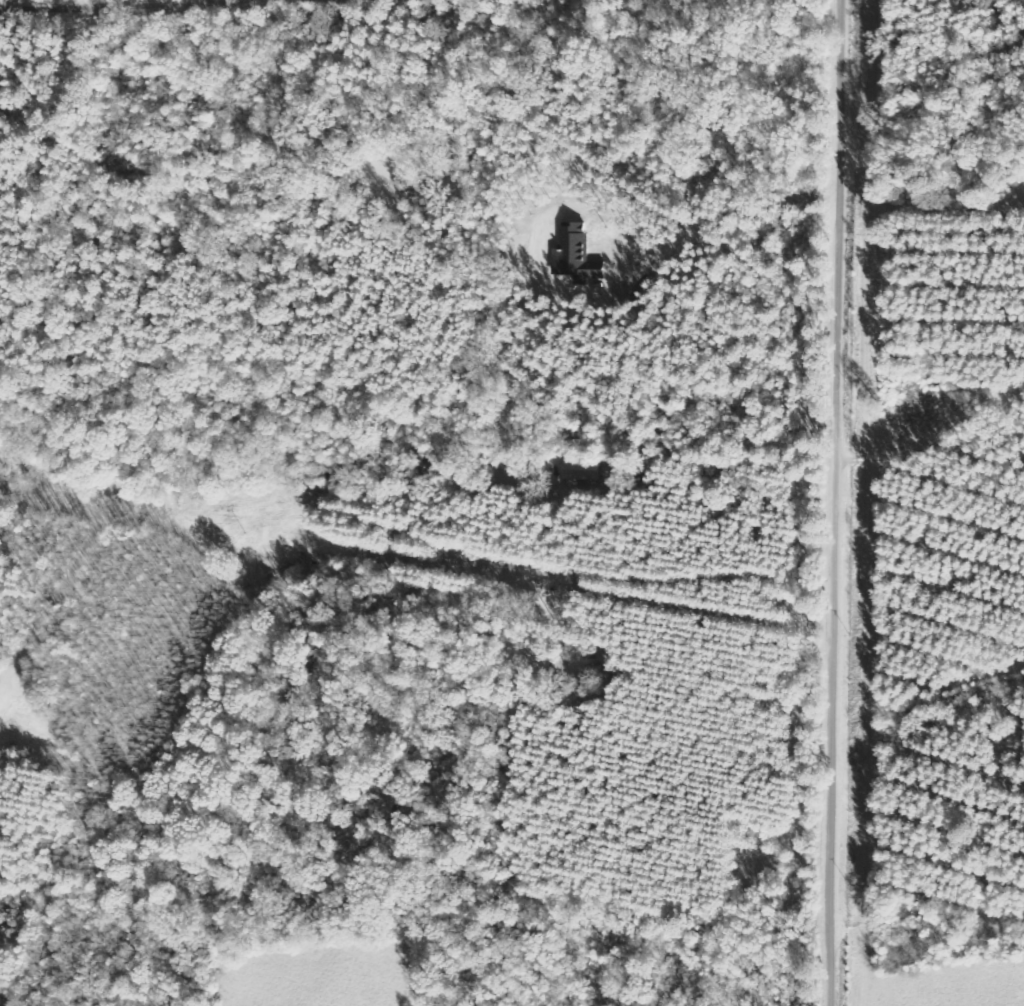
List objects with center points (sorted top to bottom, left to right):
road: (515, 295)
road: (666, 412)
road: (934, 451)
building: (578, 471)
road: (832, 502)
road: (779, 527)

